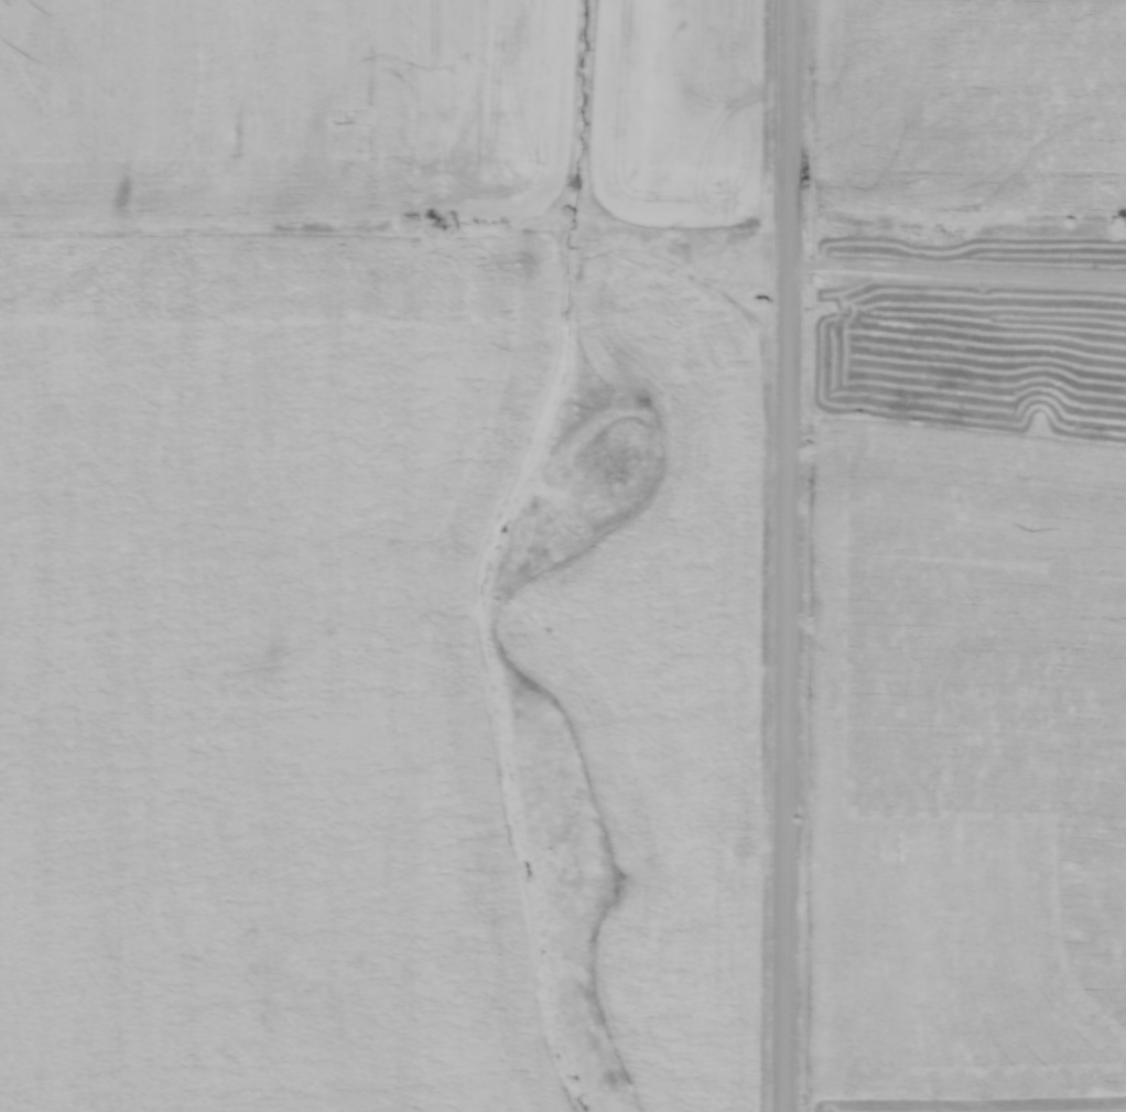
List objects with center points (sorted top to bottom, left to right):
road: (955, 276)
road: (783, 555)

